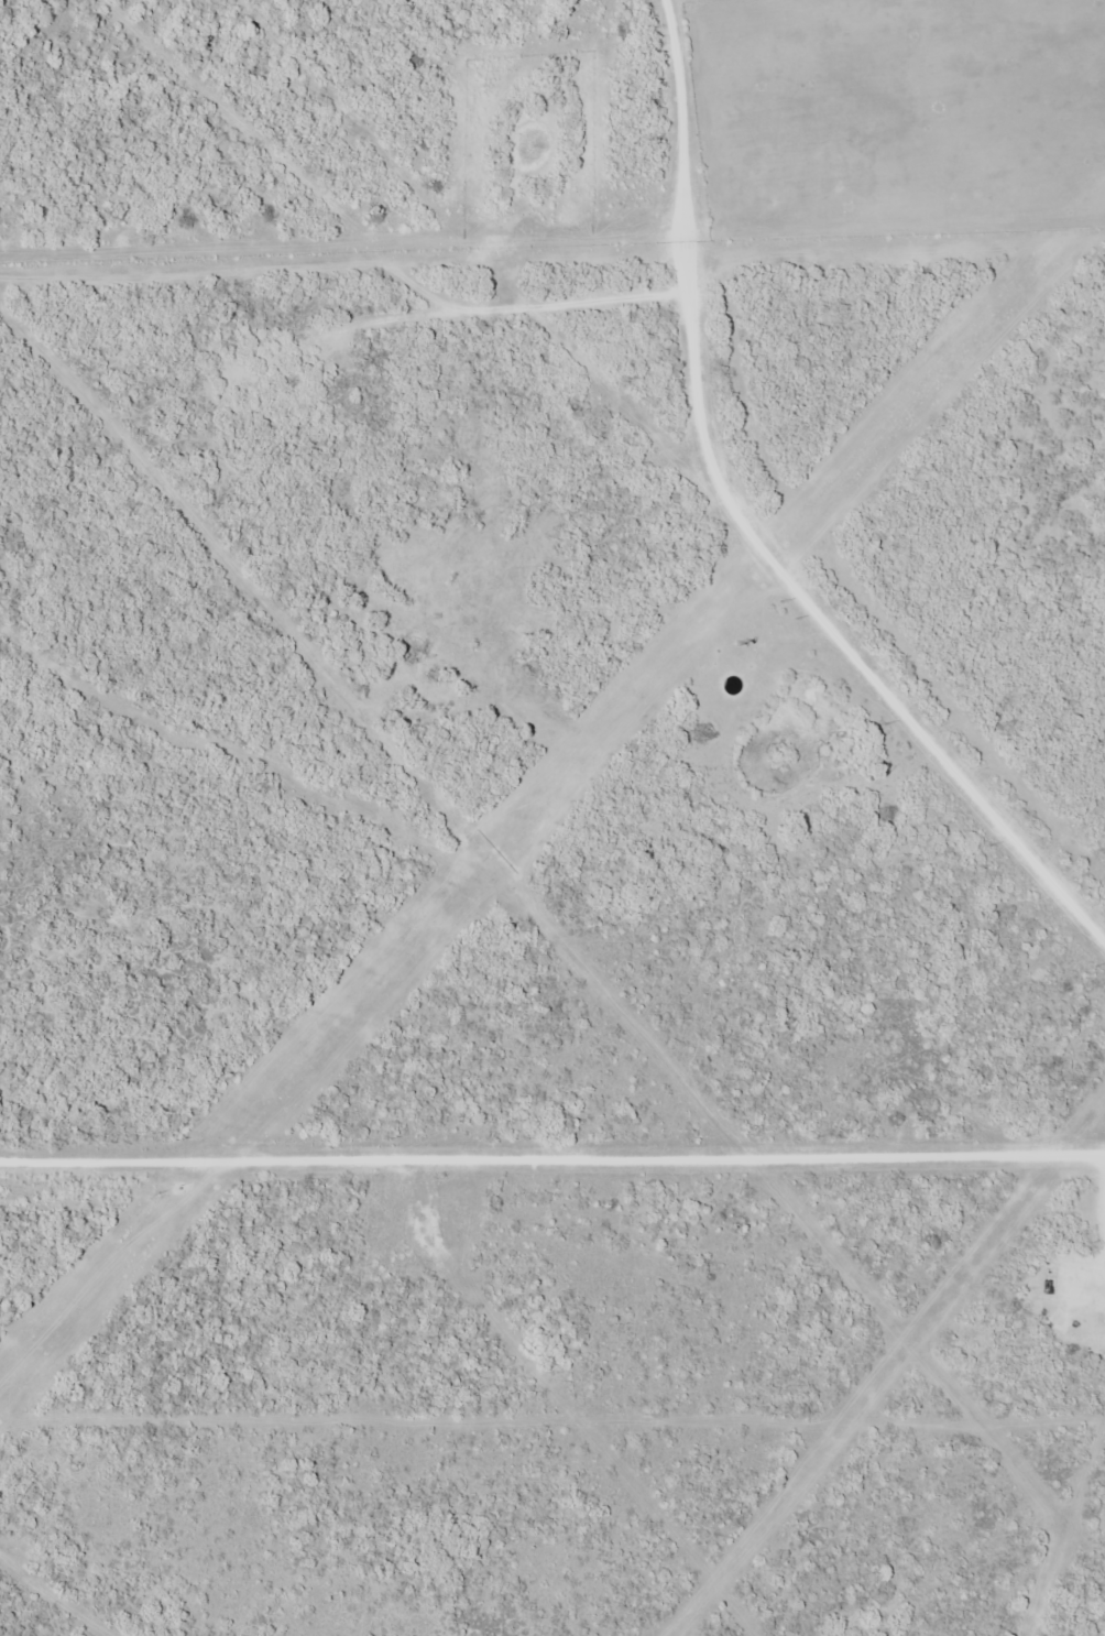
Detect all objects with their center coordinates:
road: (735, 545)
road: (551, 1133)

